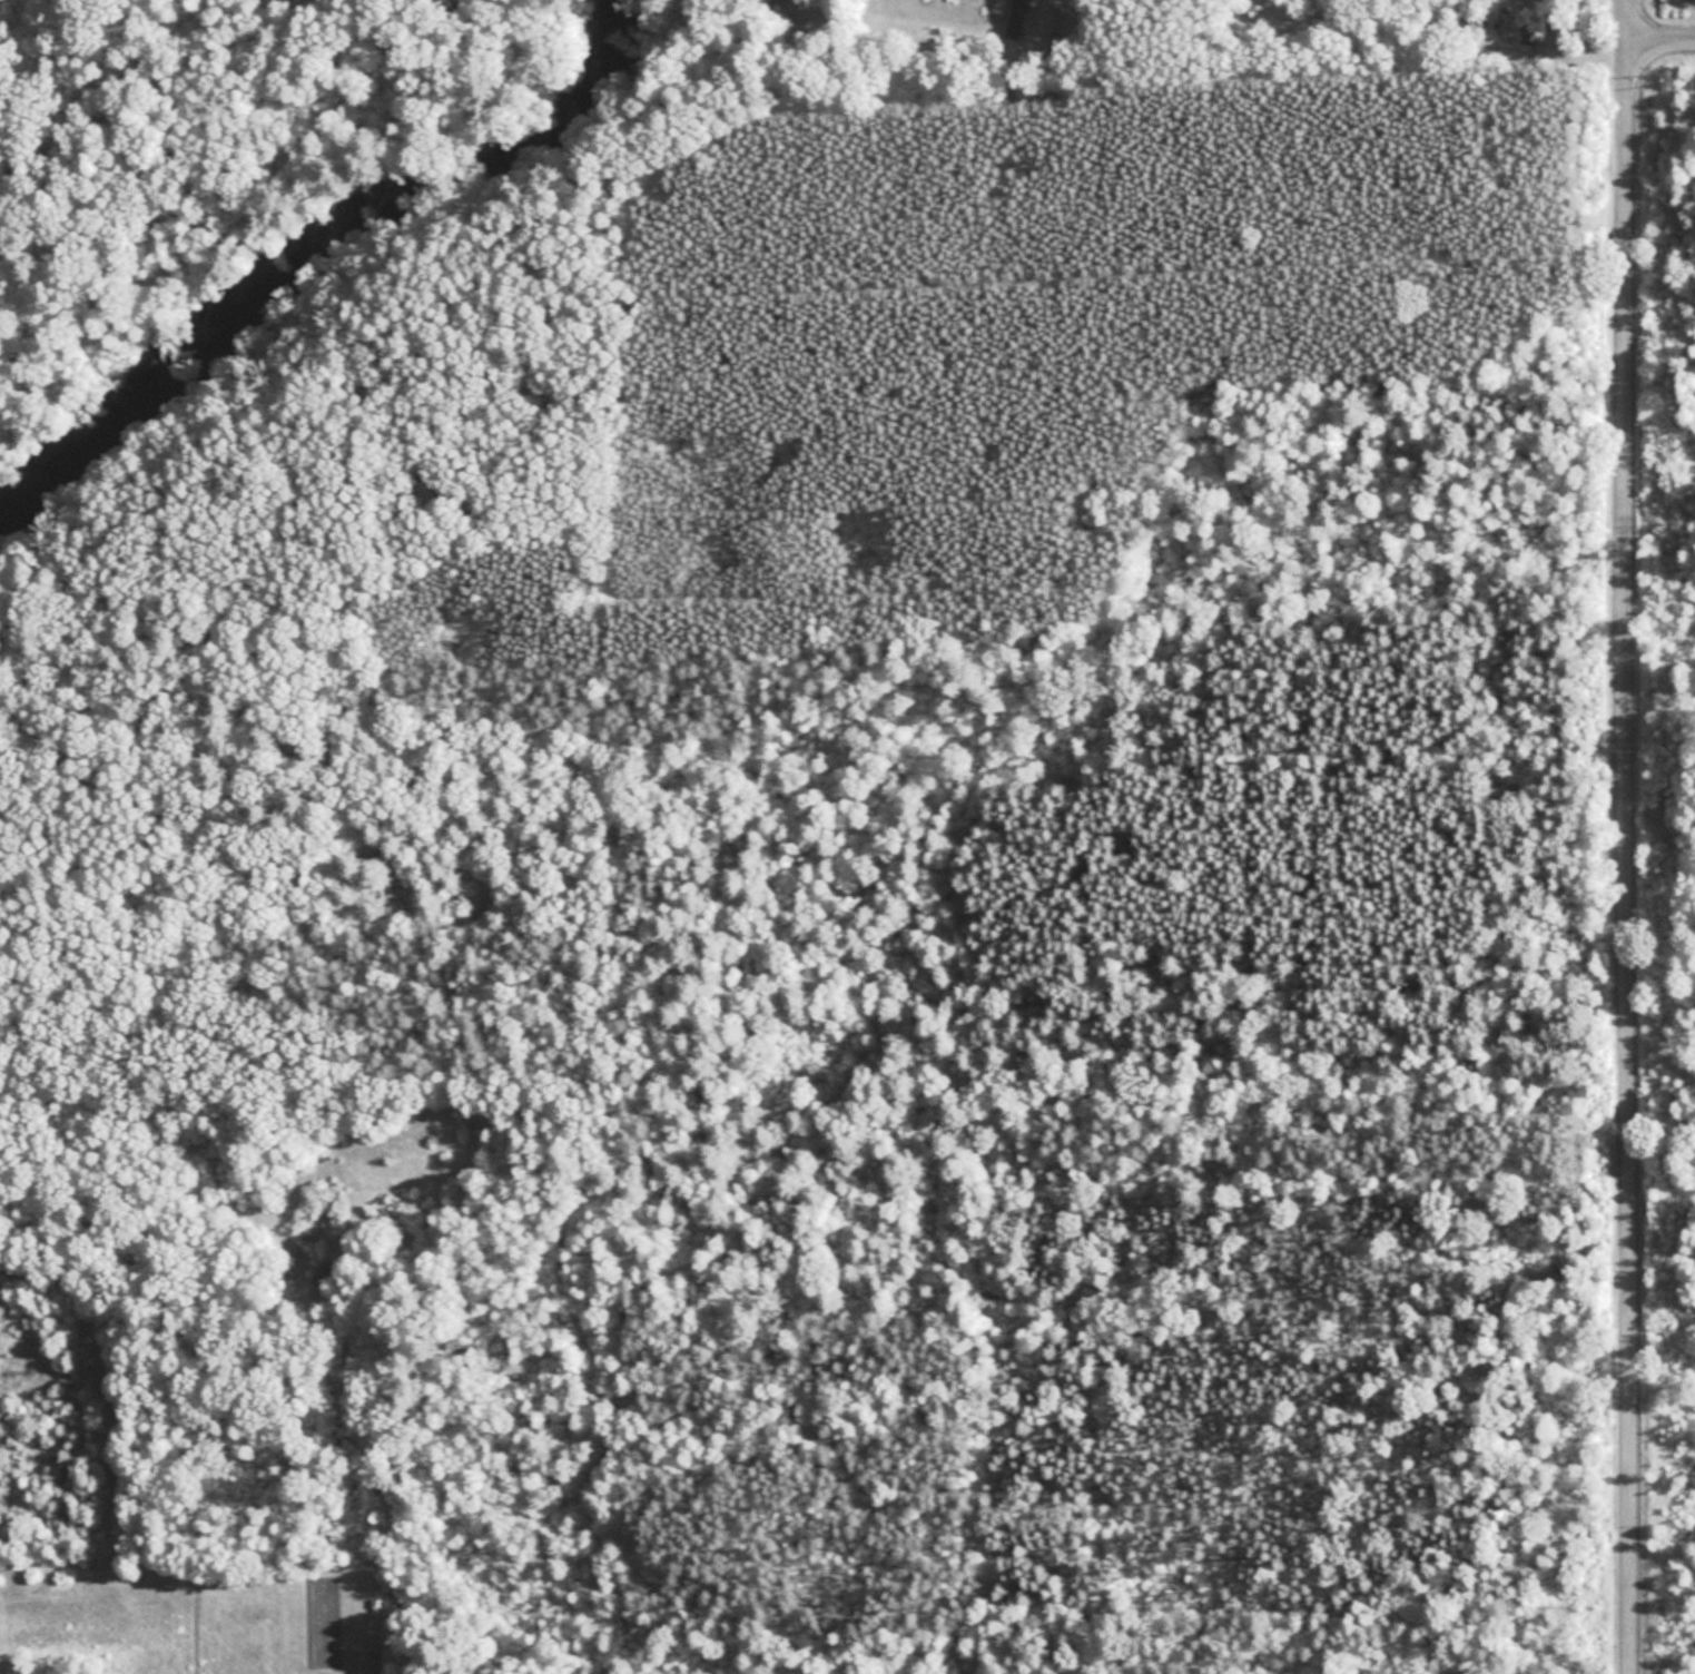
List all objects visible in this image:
road: (1658, 36)
road: (167, 165)
river: (324, 265)
road: (1626, 836)

